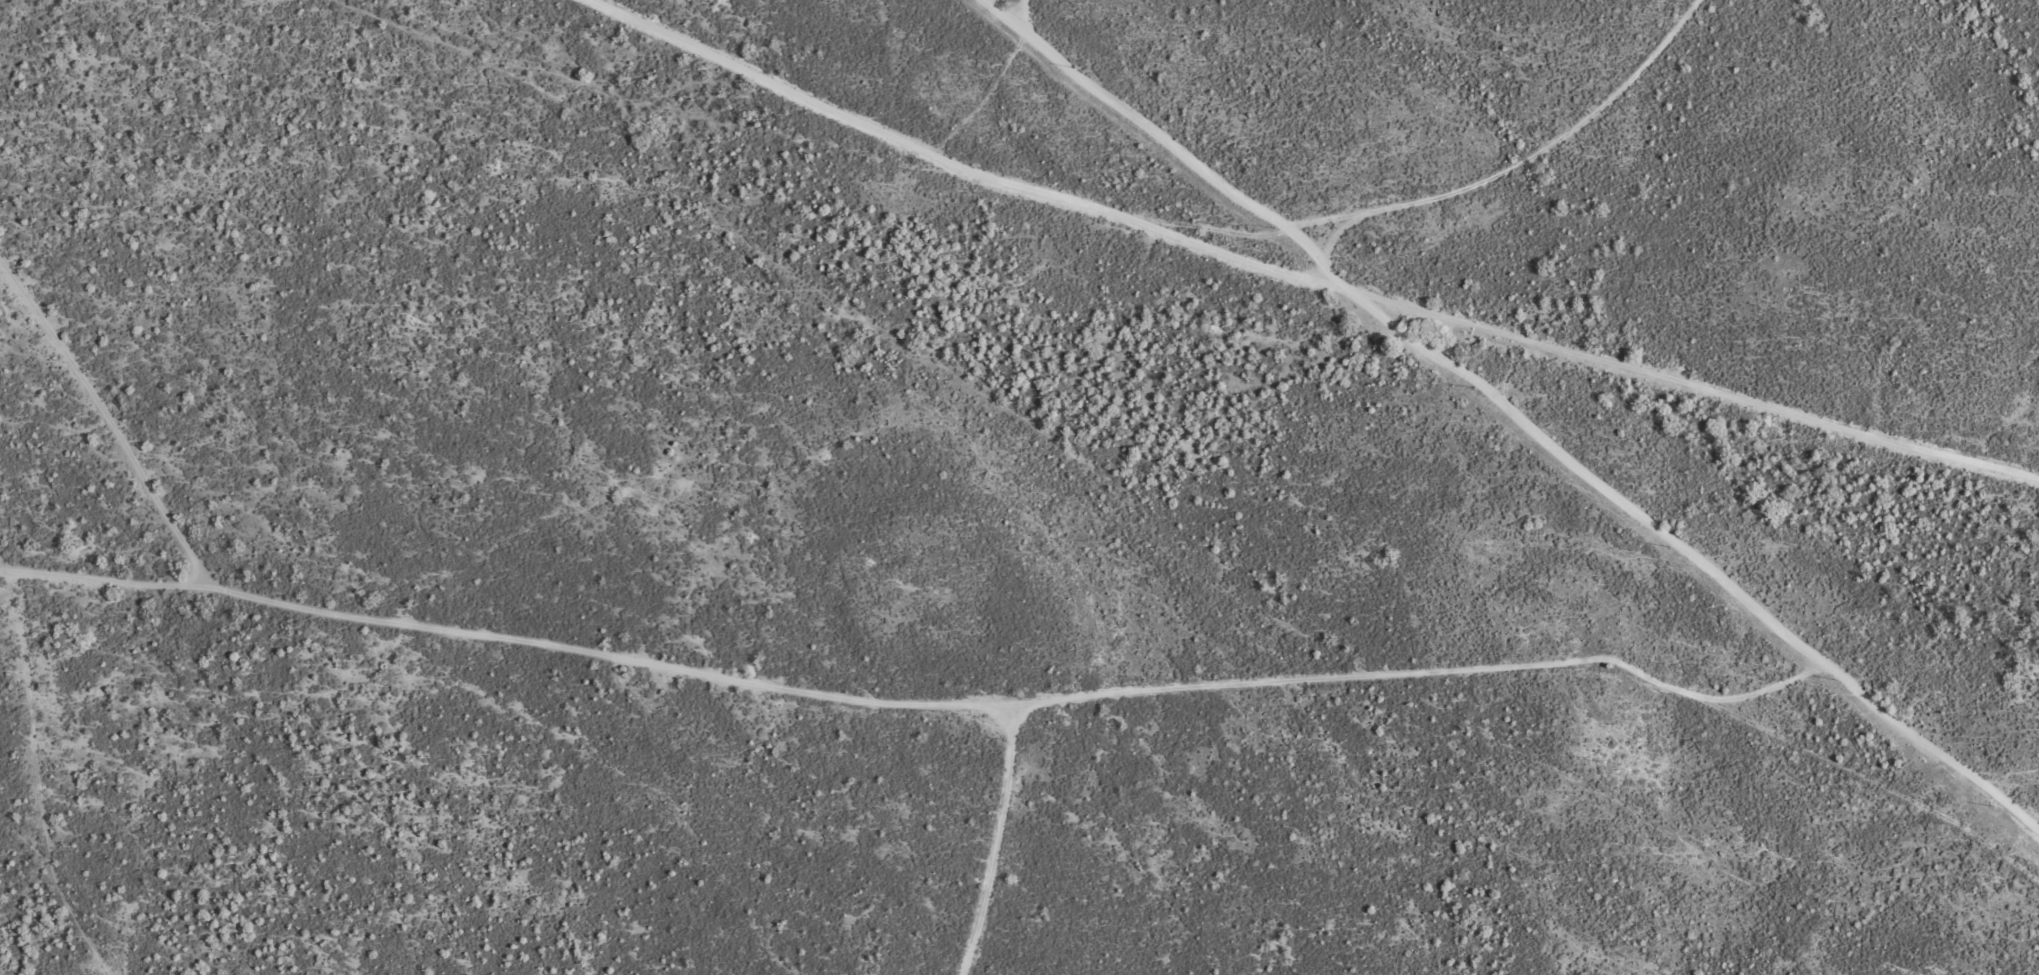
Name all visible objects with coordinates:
road: (793, 88)
road: (1454, 188)
road: (1192, 240)
road: (1124, 487)
road: (484, 626)
road: (39, 890)

